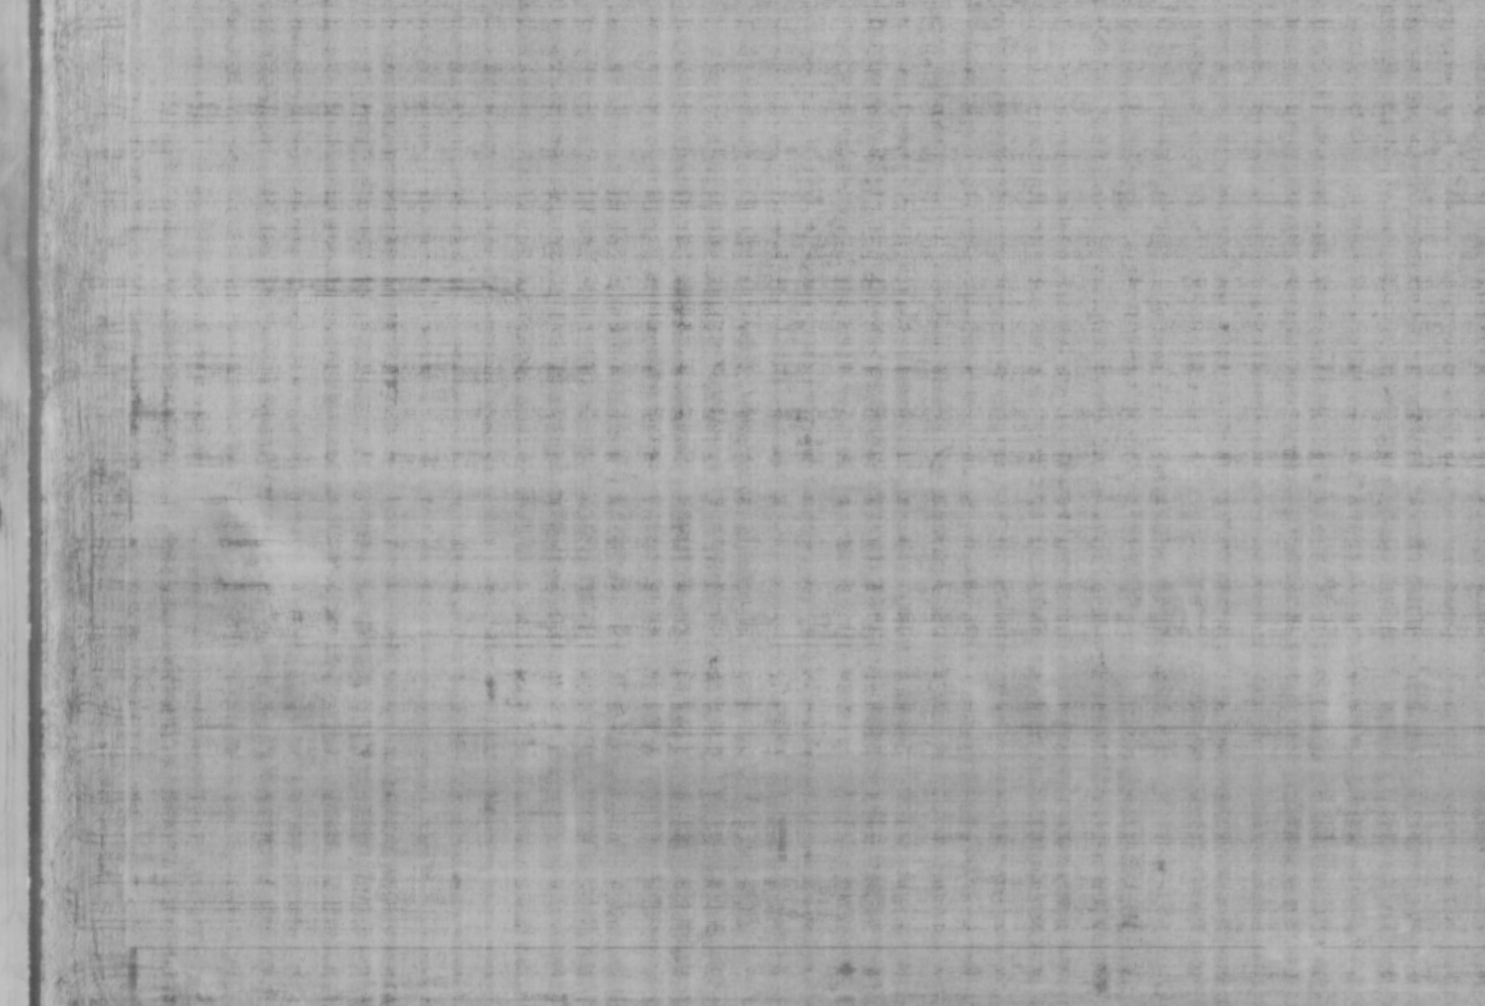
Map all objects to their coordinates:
road: (33, 503)

